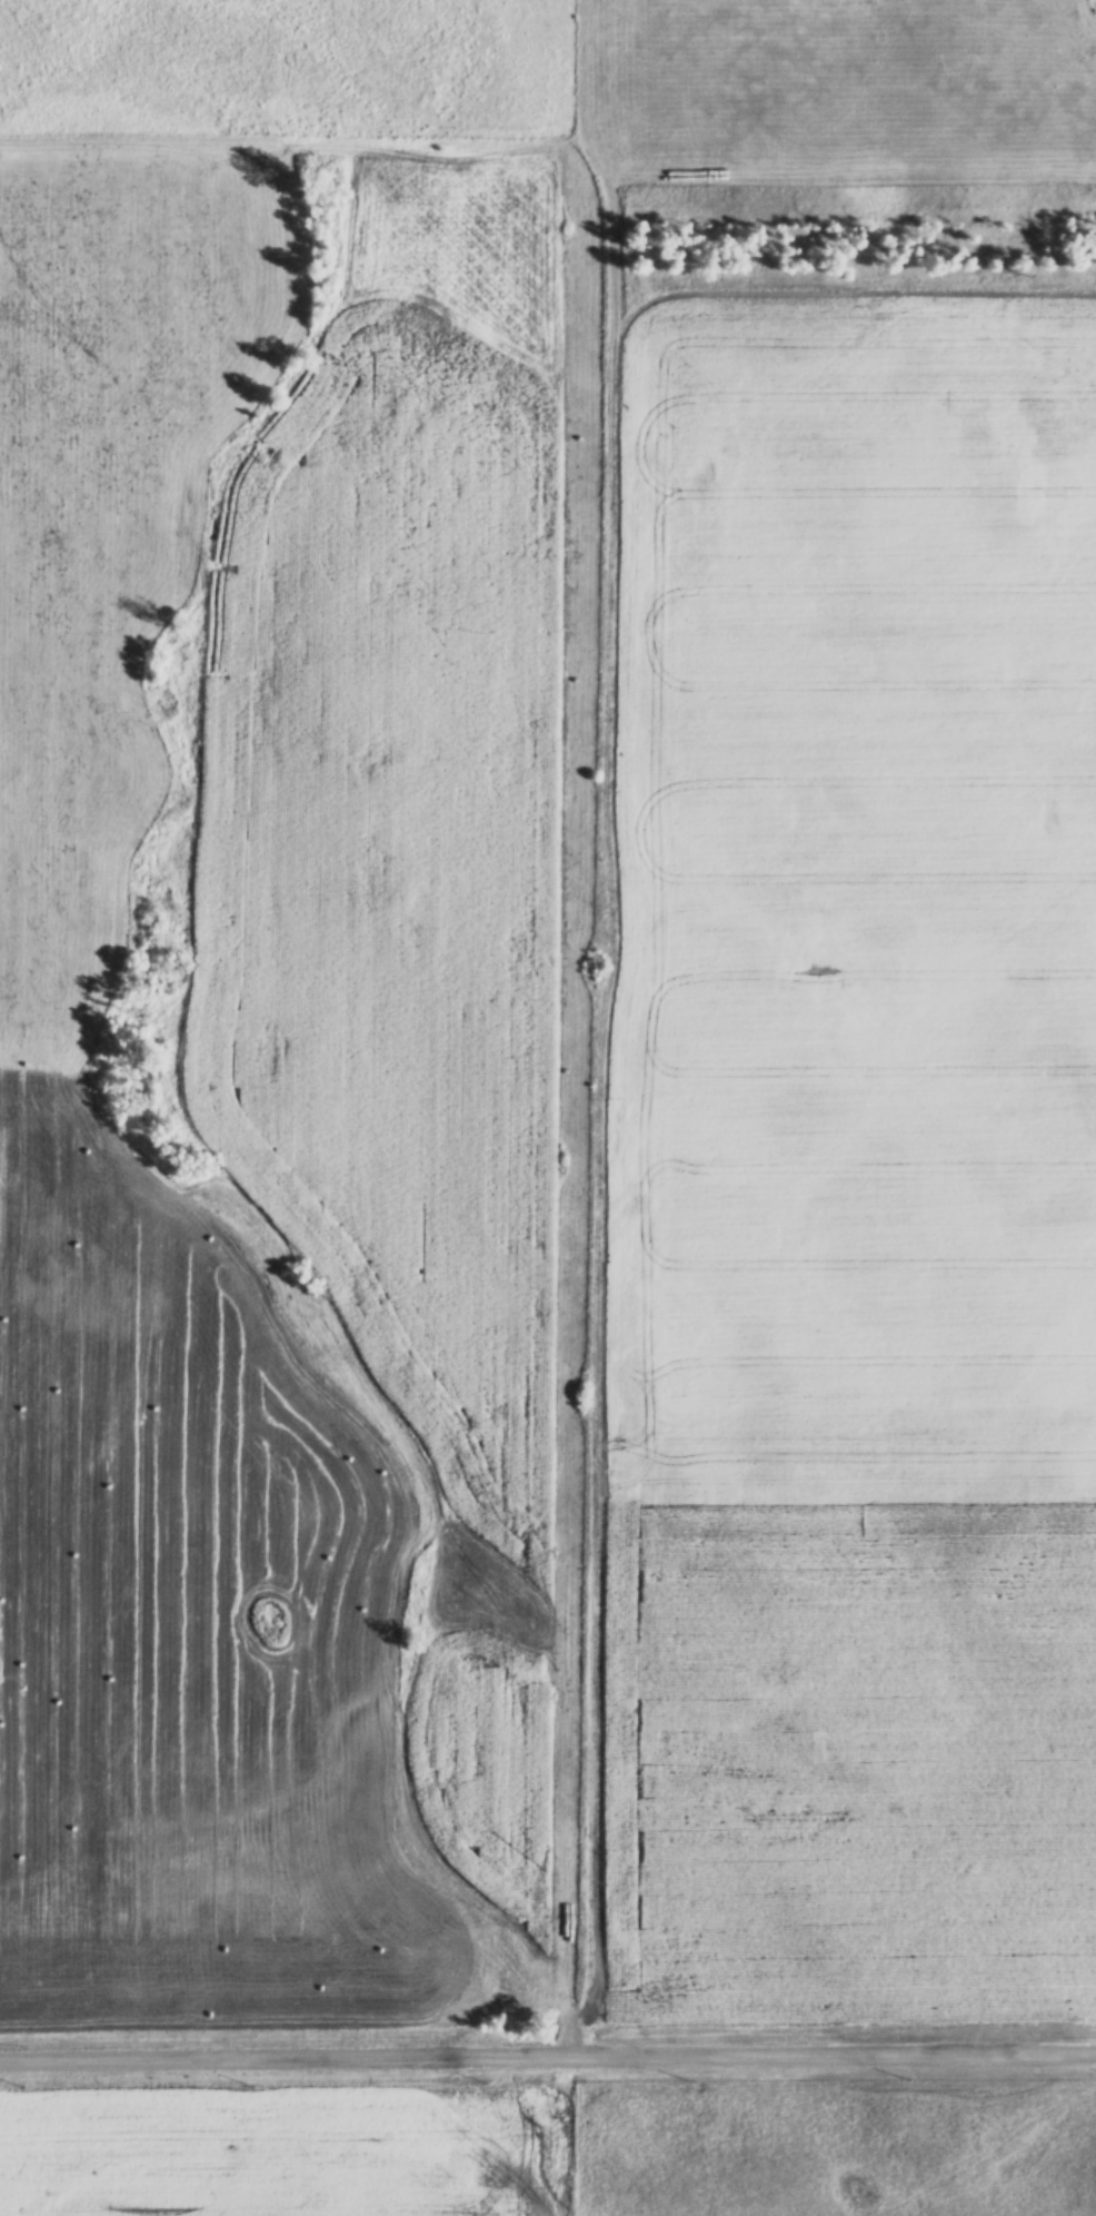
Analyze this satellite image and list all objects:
road: (548, 2054)

